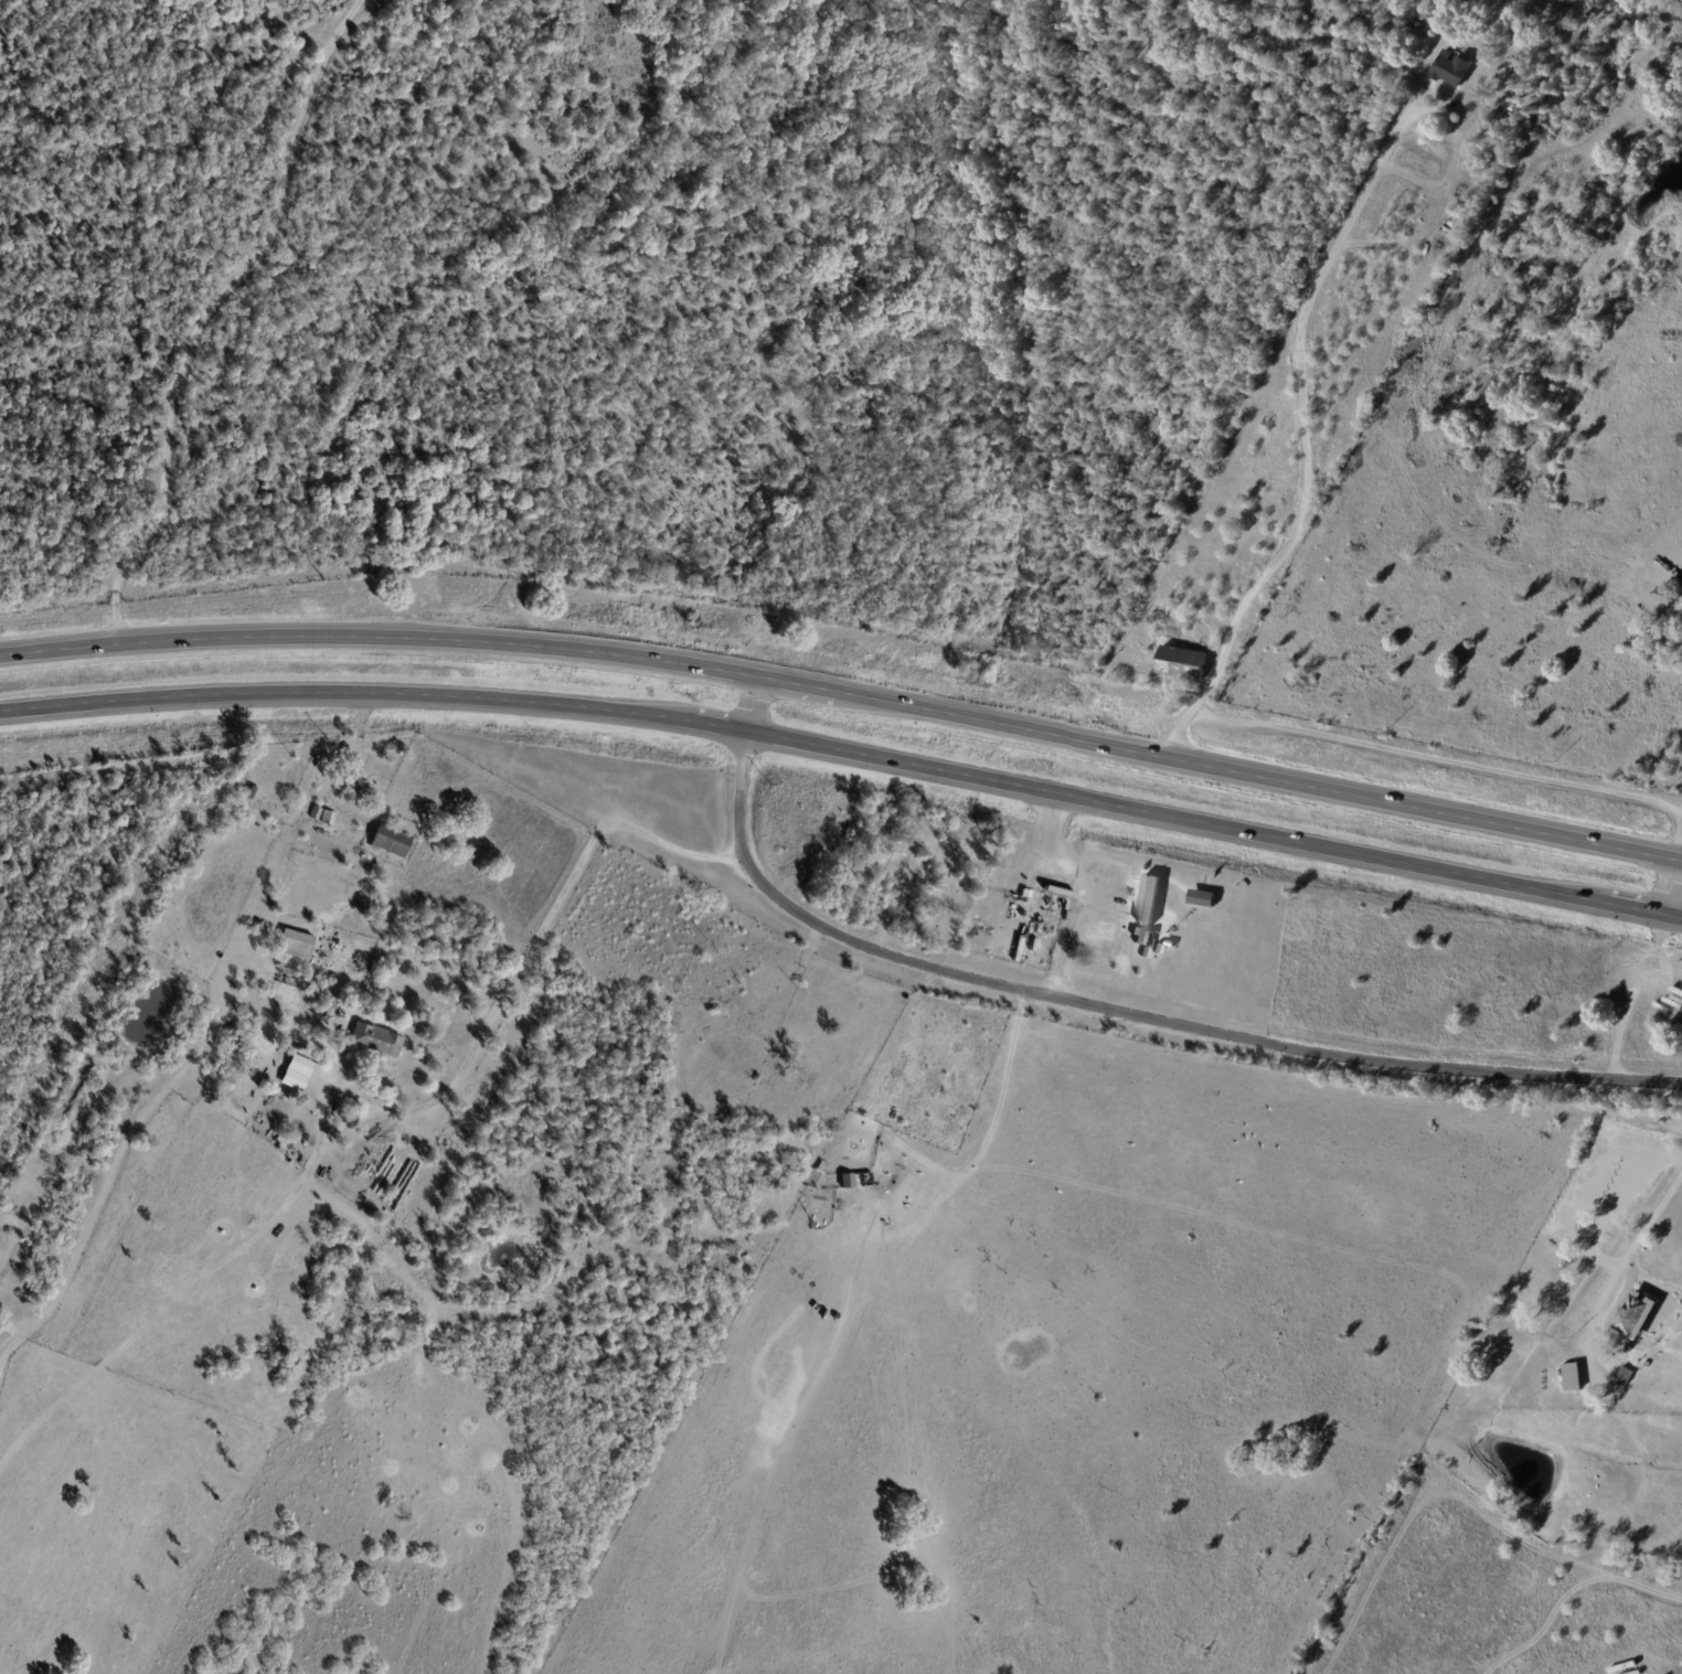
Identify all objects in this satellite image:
building: (1451, 70)
road: (1301, 439)
building: (1668, 596)
road: (382, 637)
building: (1182, 663)
road: (847, 748)
road: (1222, 770)
building: (253, 793)
building: (315, 813)
building: (329, 819)
building: (226, 830)
building: (391, 841)
road: (1680, 847)
road: (1044, 870)
road: (1674, 887)
building: (1025, 893)
building: (1149, 900)
park: (1013, 926)
building: (1141, 938)
road: (1067, 942)
building: (295, 943)
road: (521, 966)
building: (666, 999)
road: (1104, 1010)
building: (376, 1039)
building: (797, 1044)
building: (306, 1054)
building: (296, 1073)
building: (767, 1078)
building: (650, 1087)
building: (731, 1124)
building: (856, 1181)
road: (1627, 1259)
building: (1539, 1289)
building: (1638, 1314)
building: (1648, 1364)
building: (1626, 1375)
building: (1574, 1377)
building: (1561, 1399)
building: (1605, 1417)

